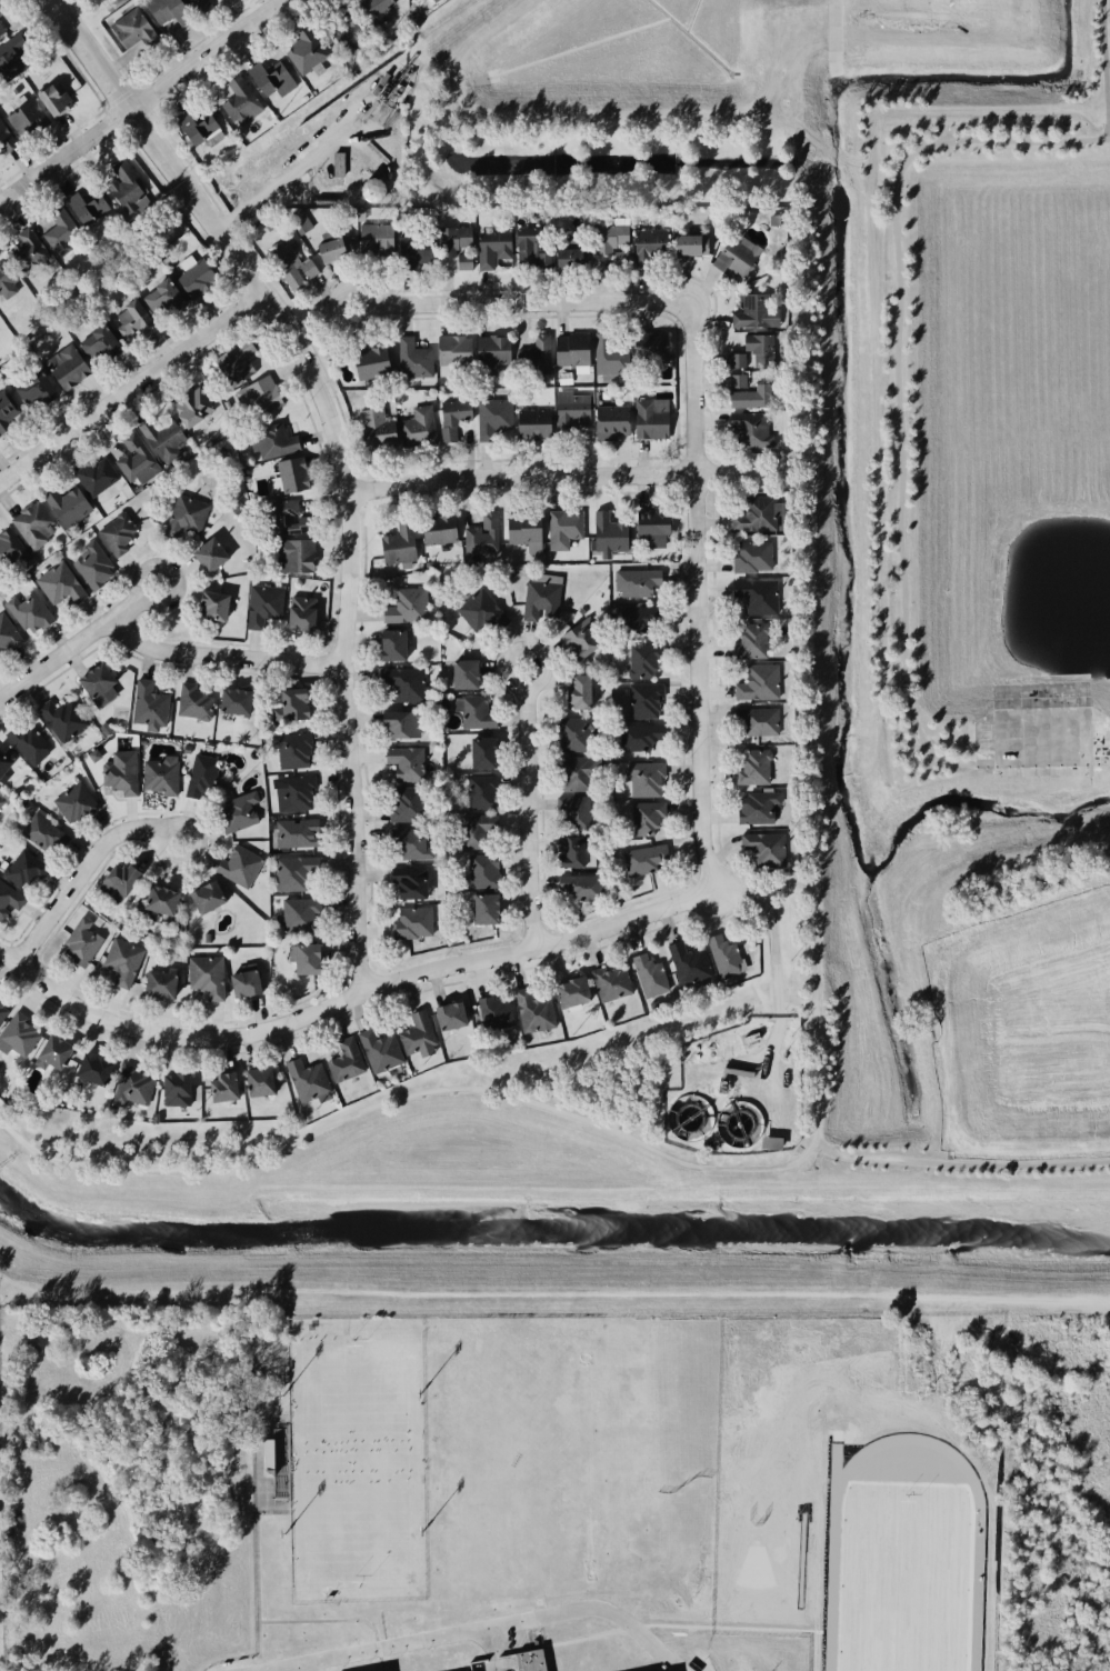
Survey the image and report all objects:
building: (2, 7)
building: (201, 7)
building: (376, 10)
building: (169, 13)
park: (99, 20)
building: (4, 23)
road: (99, 27)
building: (124, 27)
building: (344, 29)
building: (304, 49)
building: (8, 60)
road: (121, 60)
road: (1107, 62)
road: (1104, 64)
road: (131, 74)
building: (266, 76)
building: (56, 100)
building: (238, 102)
road: (142, 103)
building: (26, 114)
building: (198, 131)
road: (1109, 131)
building: (6, 140)
building: (122, 182)
building: (82, 206)
building: (298, 222)
building: (56, 229)
building: (370, 234)
road: (223, 237)
building: (450, 239)
building: (607, 239)
building: (573, 240)
building: (647, 240)
building: (684, 244)
building: (333, 246)
building: (28, 248)
building: (490, 249)
building: (561, 249)
building: (410, 251)
building: (529, 251)
building: (733, 253)
building: (621, 257)
building: (569, 259)
building: (290, 261)
building: (464, 261)
building: (196, 274)
building: (7, 282)
building: (164, 296)
road: (522, 300)
building: (752, 308)
building: (130, 318)
building: (753, 341)
building: (93, 342)
building: (648, 347)
building: (567, 348)
building: (448, 349)
building: (488, 352)
building: (540, 352)
building: (610, 354)
building: (409, 359)
building: (734, 360)
building: (233, 361)
building: (369, 363)
building: (66, 370)
road: (897, 374)
building: (736, 381)
road: (130, 386)
building: (32, 390)
building: (259, 397)
building: (743, 401)
building: (569, 407)
building: (187, 409)
building: (7, 413)
building: (652, 413)
building: (449, 417)
building: (490, 418)
building: (531, 421)
building: (610, 421)
building: (417, 428)
building: (159, 432)
building: (747, 432)
building: (378, 434)
building: (268, 439)
building: (129, 460)
building: (289, 476)
road: (570, 476)
building: (96, 477)
building: (66, 503)
building: (754, 509)
building: (186, 514)
building: (283, 518)
building: (33, 523)
building: (649, 523)
building: (438, 527)
building: (519, 527)
building: (563, 530)
building: (477, 531)
building: (608, 532)
building: (114, 534)
building: (398, 546)
building: (204, 551)
building: (10, 553)
building: (291, 557)
building: (752, 557)
building: (90, 563)
building: (630, 584)
building: (59, 586)
road: (809, 591)
building: (757, 592)
road: (701, 593)
building: (539, 601)
building: (207, 607)
building: (401, 607)
building: (263, 608)
building: (23, 609)
building: (300, 612)
building: (479, 612)
building: (631, 622)
building: (746, 639)
building: (7, 640)
road: (77, 641)
building: (577, 642)
park: (1000, 643)
building: (388, 648)
road: (227, 652)
building: (636, 661)
building: (460, 672)
building: (90, 680)
building: (756, 680)
building: (401, 684)
building: (572, 691)
building: (193, 701)
building: (231, 701)
building: (292, 702)
building: (642, 702)
building: (147, 703)
building: (472, 714)
building: (58, 716)
building: (754, 718)
building: (394, 721)
building: (568, 732)
building: (633, 736)
road: (352, 740)
building: (26, 741)
building: (479, 751)
building: (292, 753)
road: (1042, 759)
building: (3, 763)
building: (402, 763)
building: (108, 766)
building: (753, 769)
building: (201, 773)
building: (159, 774)
building: (643, 776)
building: (569, 777)
building: (478, 792)
road: (533, 793)
building: (289, 794)
building: (72, 800)
building: (1, 801)
building: (400, 804)
building: (758, 806)
building: (237, 811)
building: (570, 812)
building: (646, 818)
building: (40, 832)
building: (467, 832)
building: (293, 835)
building: (402, 841)
building: (764, 849)
building: (567, 850)
building: (643, 860)
road: (93, 863)
building: (23, 867)
building: (237, 867)
building: (478, 870)
building: (291, 873)
building: (112, 878)
building: (406, 881)
building: (579, 890)
building: (201, 893)
building: (6, 903)
building: (152, 904)
building: (483, 908)
building: (292, 912)
building: (412, 922)
road: (774, 925)
building: (78, 940)
building: (724, 953)
building: (302, 960)
building: (116, 962)
building: (687, 965)
building: (204, 975)
building: (647, 975)
building: (240, 982)
building: (611, 983)
building: (156, 984)
building: (568, 991)
road: (354, 995)
road: (794, 999)
building: (492, 1009)
building: (2, 1012)
building: (532, 1012)
building: (447, 1014)
building: (413, 1032)
building: (18, 1035)
building: (374, 1047)
building: (51, 1053)
road: (767, 1053)
building: (342, 1062)
building: (90, 1069)
road: (820, 1070)
building: (304, 1080)
building: (256, 1082)
building: (131, 1085)
building: (222, 1088)
building: (174, 1090)
road: (403, 1094)
road: (959, 1162)
river: (550, 1247)
park: (354, 1462)
road: (253, 1528)
road: (326, 1621)
road: (486, 1629)
building: (530, 1662)
road: (294, 1669)

